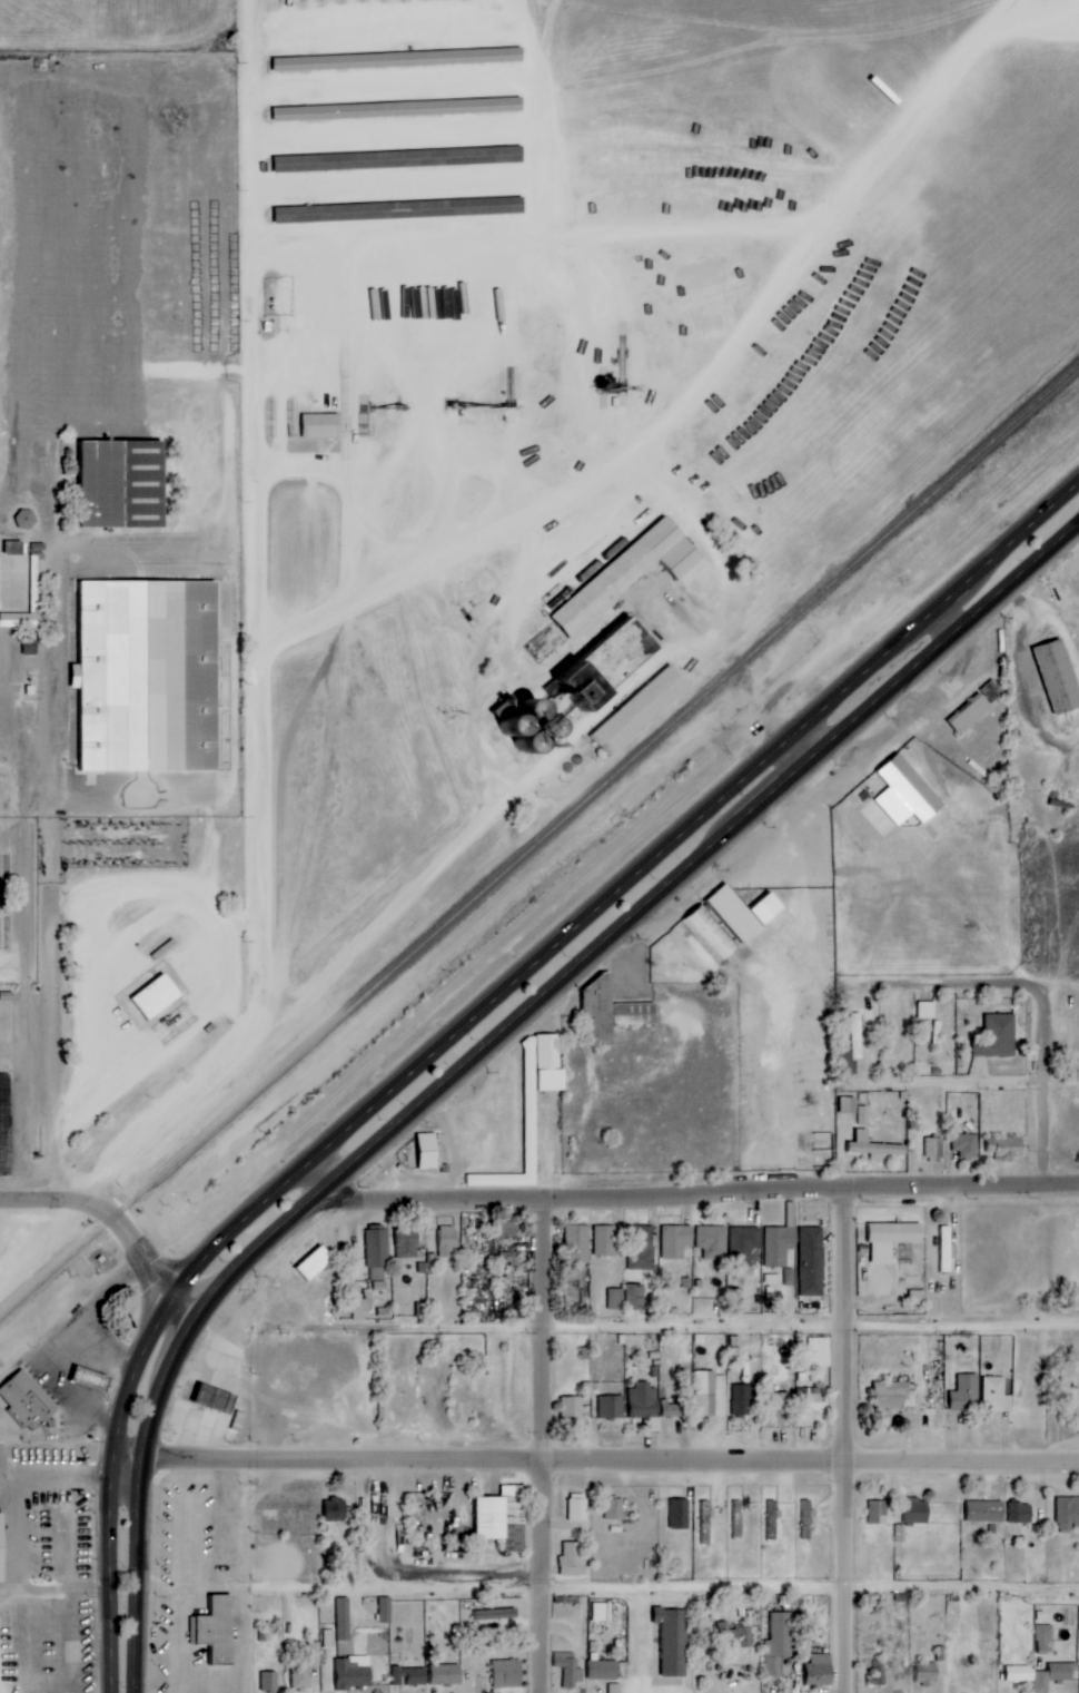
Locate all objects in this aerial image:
building: (399, 59)
building: (399, 109)
building: (399, 159)
building: (399, 210)
road: (702, 396)
building: (321, 426)
building: (123, 483)
road: (365, 499)
road: (258, 511)
building: (27, 519)
building: (14, 548)
building: (631, 572)
building: (32, 597)
road: (948, 616)
building: (31, 646)
road: (1033, 652)
building: (603, 662)
road: (722, 668)
building: (149, 677)
building: (1059, 677)
road: (477, 681)
building: (641, 710)
building: (532, 713)
storage tank: (532, 713)
building: (971, 713)
building: (512, 727)
storage tank: (512, 727)
building: (546, 732)
storage tank: (546, 732)
building: (526, 746)
storage tank: (526, 746)
building: (908, 794)
railway: (555, 826)
road: (53, 866)
road: (627, 876)
road: (135, 898)
building: (744, 911)
road: (379, 914)
road: (627, 918)
road: (938, 988)
road: (26, 992)
building: (156, 996)
road: (228, 996)
road: (101, 1008)
building: (927, 1010)
building: (611, 1012)
building: (998, 1036)
building: (852, 1046)
road: (952, 1087)
road: (1053, 1095)
building: (531, 1106)
building: (855, 1110)
building: (967, 1145)
building: (875, 1146)
building: (1007, 1146)
building: (933, 1149)
building: (428, 1151)
road: (126, 1152)
road: (1063, 1184)
road: (665, 1199)
road: (30, 1202)
building: (508, 1230)
building: (891, 1239)
building: (605, 1240)
building: (407, 1241)
building: (447, 1241)
building: (676, 1241)
road: (139, 1242)
building: (712, 1242)
building: (577, 1243)
building: (744, 1244)
building: (779, 1246)
building: (641, 1248)
building: (946, 1249)
building: (377, 1256)
building: (812, 1261)
building: (310, 1263)
building: (627, 1298)
building: (358, 1301)
railway: (16, 1302)
road: (669, 1325)
building: (818, 1351)
road: (840, 1364)
building: (966, 1392)
building: (711, 1394)
building: (892, 1395)
building: (997, 1395)
building: (812, 1397)
building: (742, 1400)
building: (24, 1402)
building: (778, 1402)
building: (611, 1407)
building: (644, 1408)
building: (573, 1409)
building: (672, 1409)
road: (538, 1446)
road: (595, 1460)
road: (112, 1479)
road: (137, 1504)
building: (335, 1509)
building: (615, 1509)
building: (806, 1509)
building: (578, 1510)
building: (918, 1512)
building: (987, 1512)
building: (878, 1513)
building: (1021, 1513)
building: (1068, 1513)
building: (679, 1515)
building: (502, 1518)
building: (706, 1523)
building: (899, 1533)
building: (1, 1548)
building: (573, 1558)
road: (244, 1575)
road: (606, 1591)
building: (385, 1610)
building: (601, 1612)
building: (501, 1617)
building: (343, 1618)
building: (216, 1628)
building: (734, 1636)
building: (328, 1638)
building: (1045, 1638)
building: (673, 1641)
building: (779, 1643)
building: (301, 1667)
building: (568, 1670)
building: (603, 1670)
building: (820, 1670)
building: (353, 1673)
building: (878, 1673)
building: (446, 1674)
building: (508, 1674)
building: (928, 1674)
building: (1021, 1674)
building: (409, 1676)
building: (270, 1681)
building: (615, 1689)

